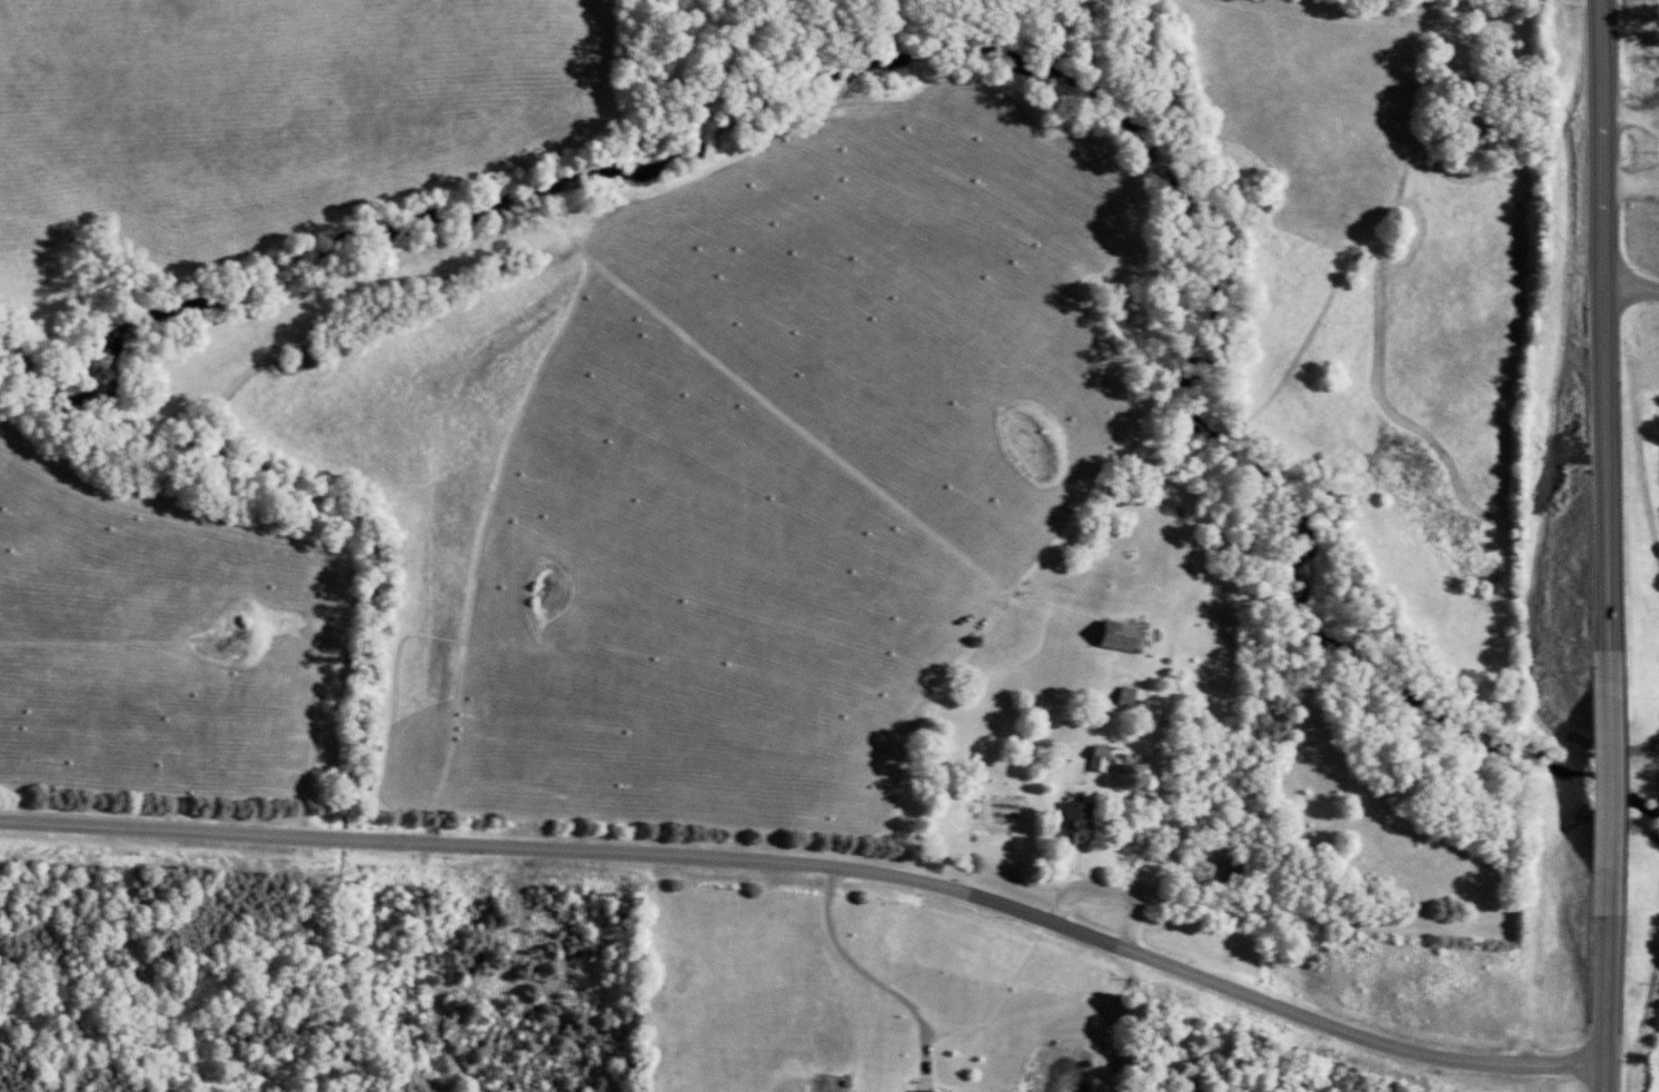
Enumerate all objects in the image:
road: (1599, 141)
road: (1629, 290)
road: (1599, 461)
building: (1132, 638)
building: (1106, 756)
road: (1597, 761)
building: (1085, 820)
road: (813, 862)
road: (1596, 971)
road: (1596, 1076)
building: (932, 1090)

